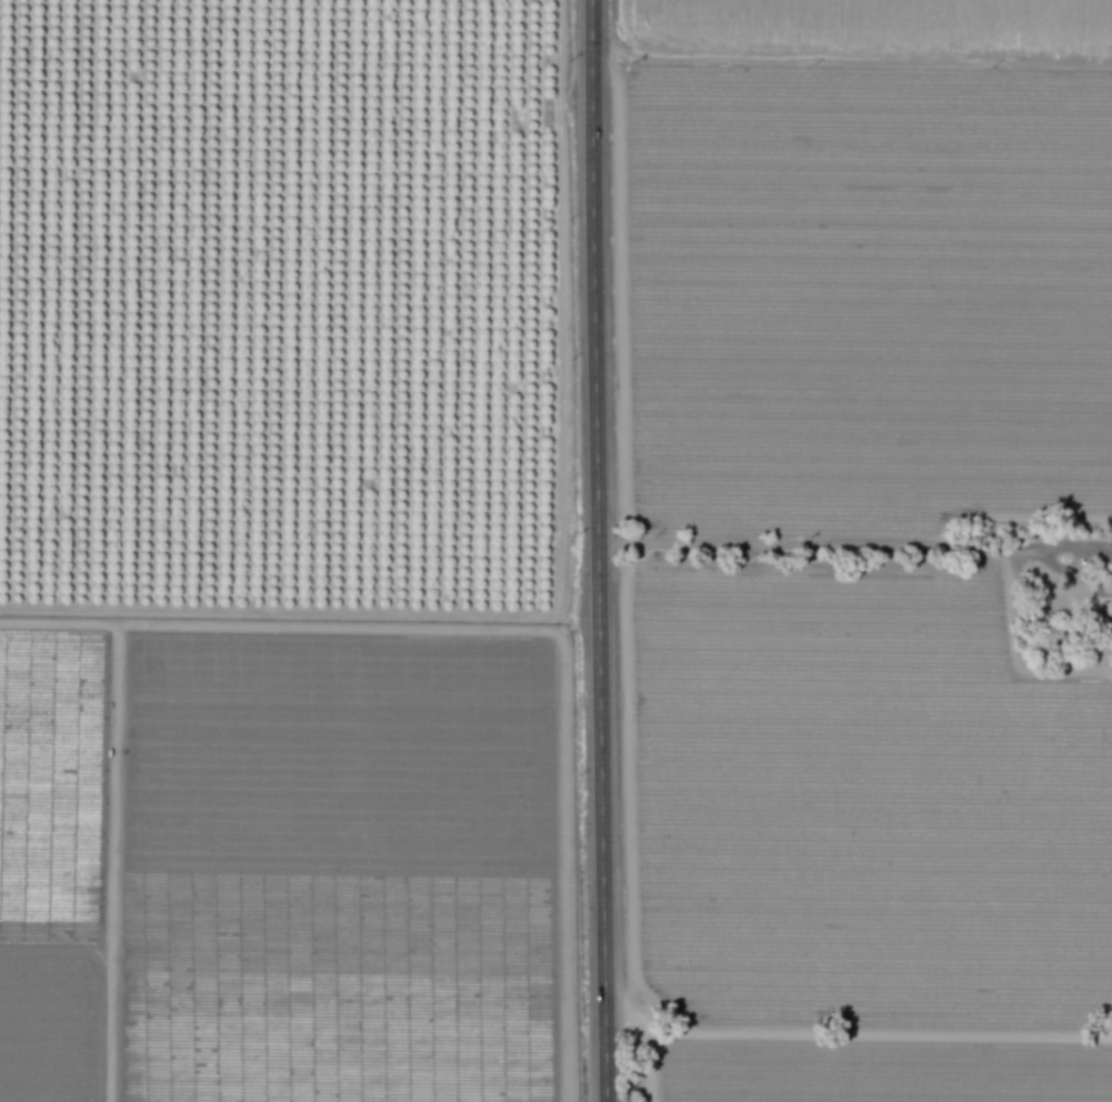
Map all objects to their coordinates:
road: (854, 544)
road: (598, 551)
road: (856, 1033)

